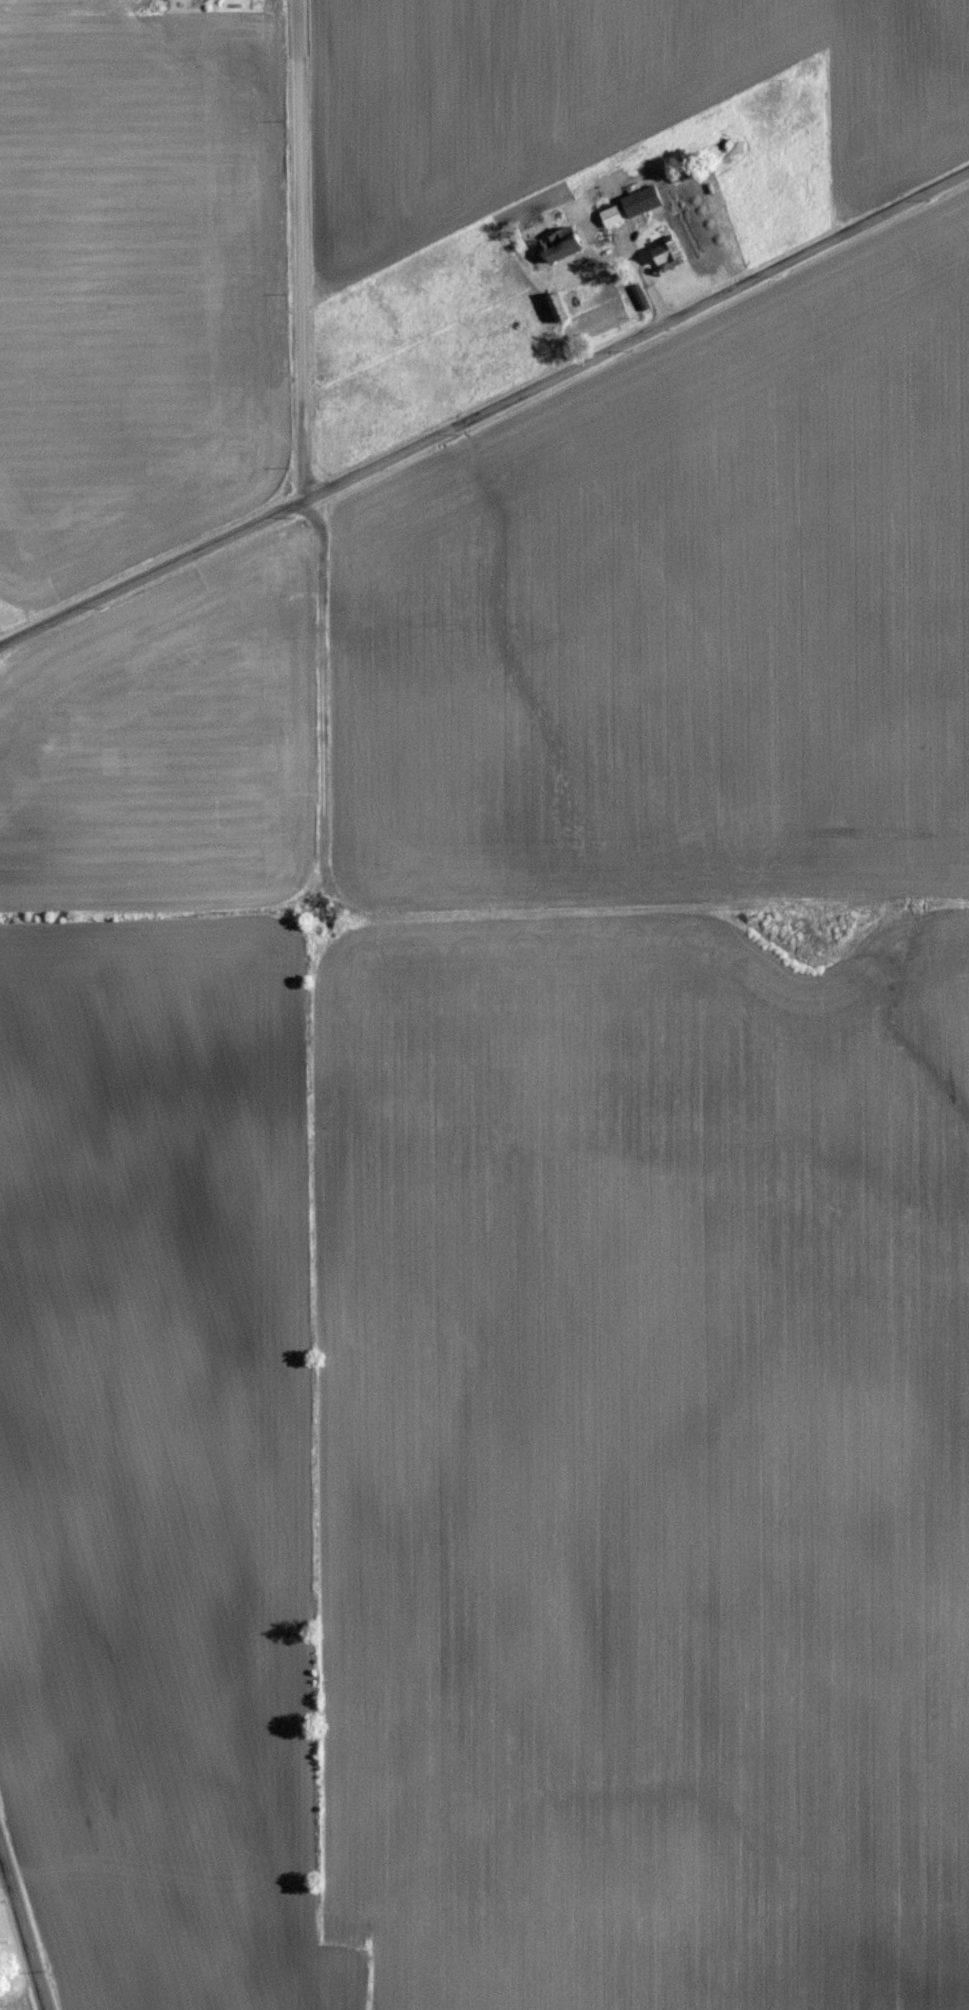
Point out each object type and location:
building: (607, 215)
building: (551, 244)
road: (301, 249)
building: (659, 254)
road: (648, 275)
road: (485, 407)
road: (5, 1873)
road: (24, 1924)

